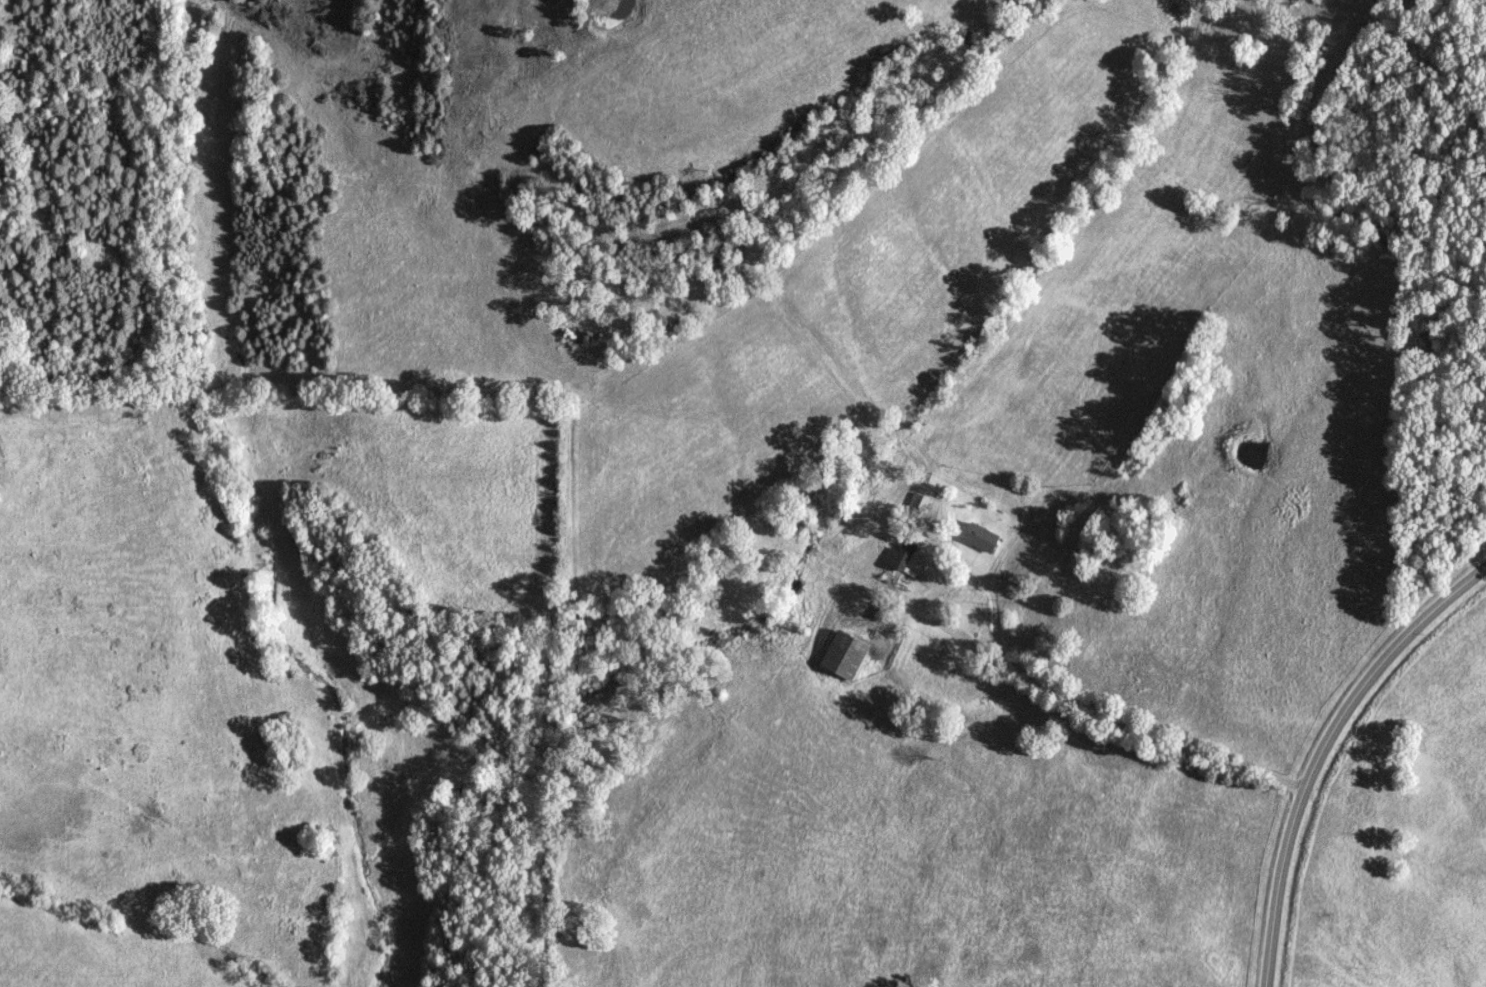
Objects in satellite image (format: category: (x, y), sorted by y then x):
building: (982, 537)
building: (903, 558)
building: (845, 654)
road: (1088, 706)
road: (1326, 754)

